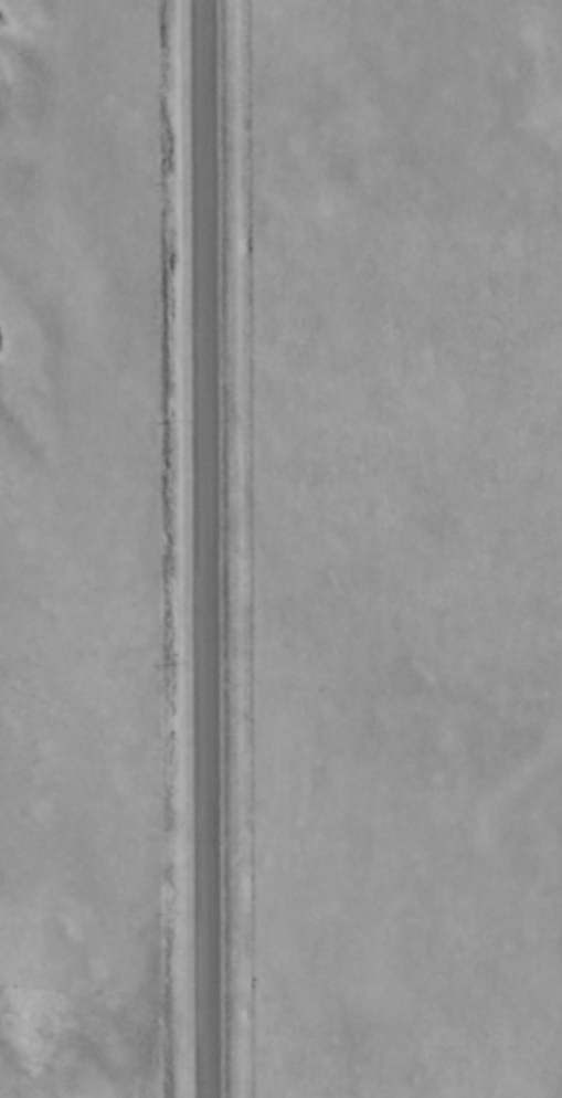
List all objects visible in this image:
road: (209, 549)

